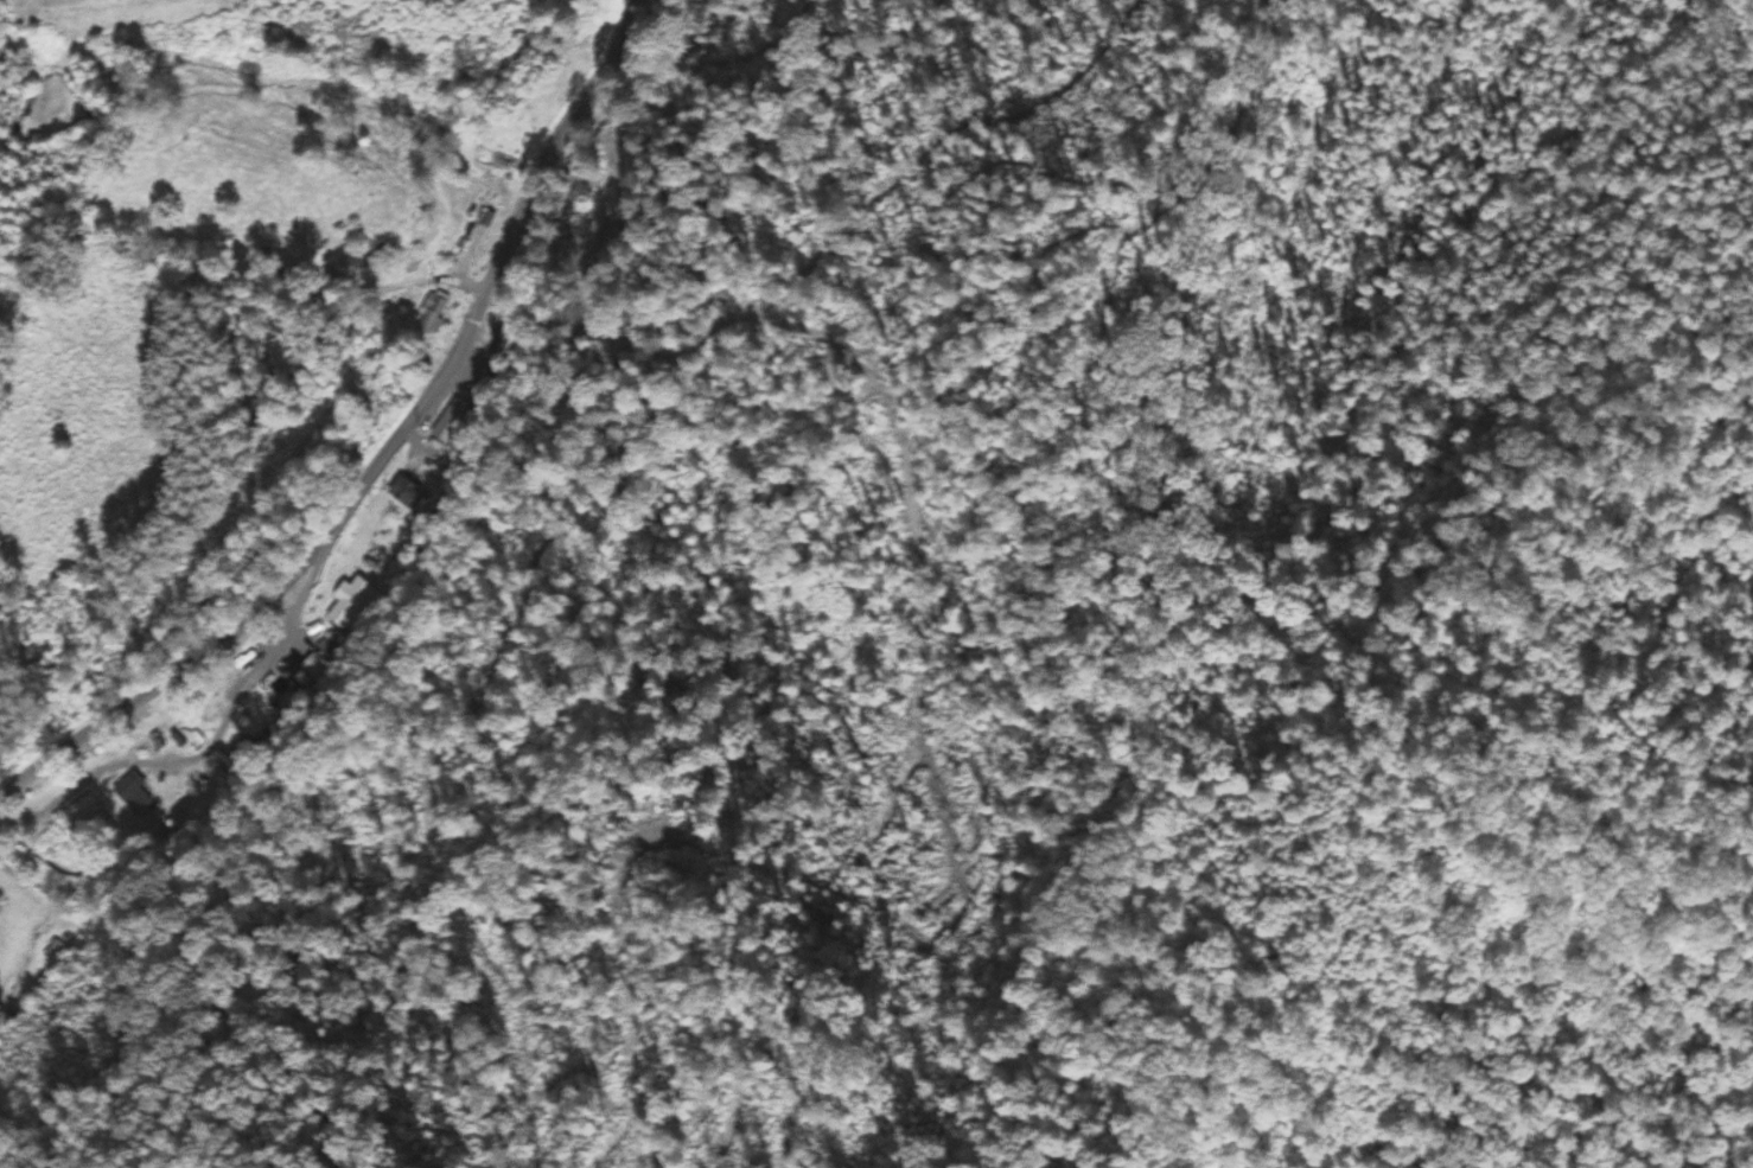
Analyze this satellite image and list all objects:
building: (493, 154)
building: (431, 311)
building: (454, 422)
road: (387, 455)
building: (412, 497)
building: (353, 605)
building: (318, 666)

